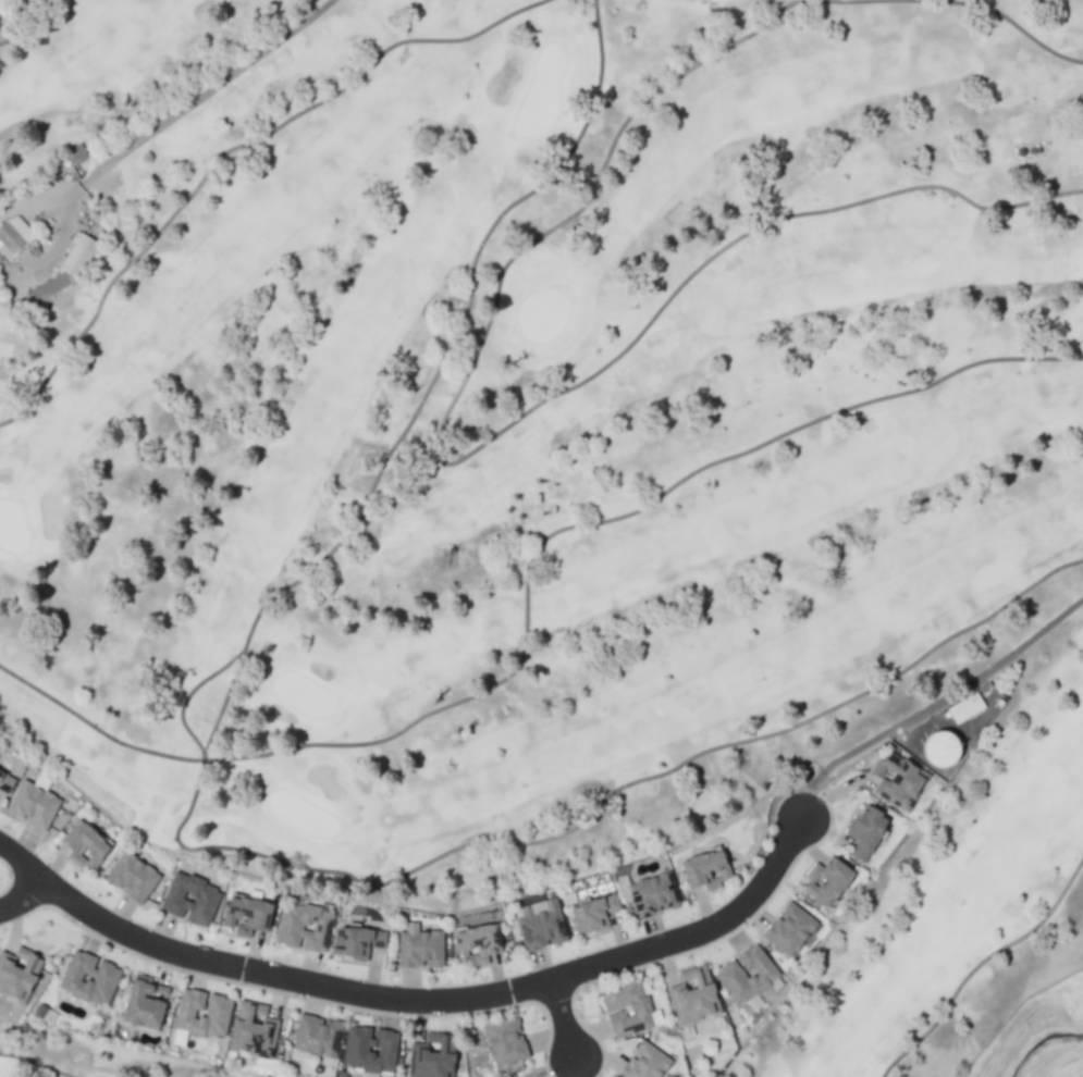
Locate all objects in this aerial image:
road: (195, 108)
building: (73, 154)
building: (11, 237)
building: (71, 258)
park: (561, 455)
road: (928, 706)
building: (969, 707)
building: (953, 748)
building: (8, 781)
building: (902, 781)
building: (35, 805)
building: (872, 831)
building: (89, 845)
building: (713, 869)
building: (134, 877)
building: (834, 881)
building: (657, 894)
building: (193, 900)
road: (22, 906)
building: (598, 914)
building: (543, 924)
building: (306, 927)
building: (793, 930)
building: (361, 942)
building: (481, 943)
building: (423, 948)
building: (20, 974)
building: (750, 975)
building: (93, 979)
building: (697, 995)
building: (150, 1003)
road: (415, 1010)
building: (631, 1010)
building: (206, 1014)
building: (258, 1030)
road: (565, 1030)
building: (320, 1037)
building: (508, 1041)
building: (372, 1049)
park: (64, 1062)
building: (648, 1062)
airport: (1081, 1075)

